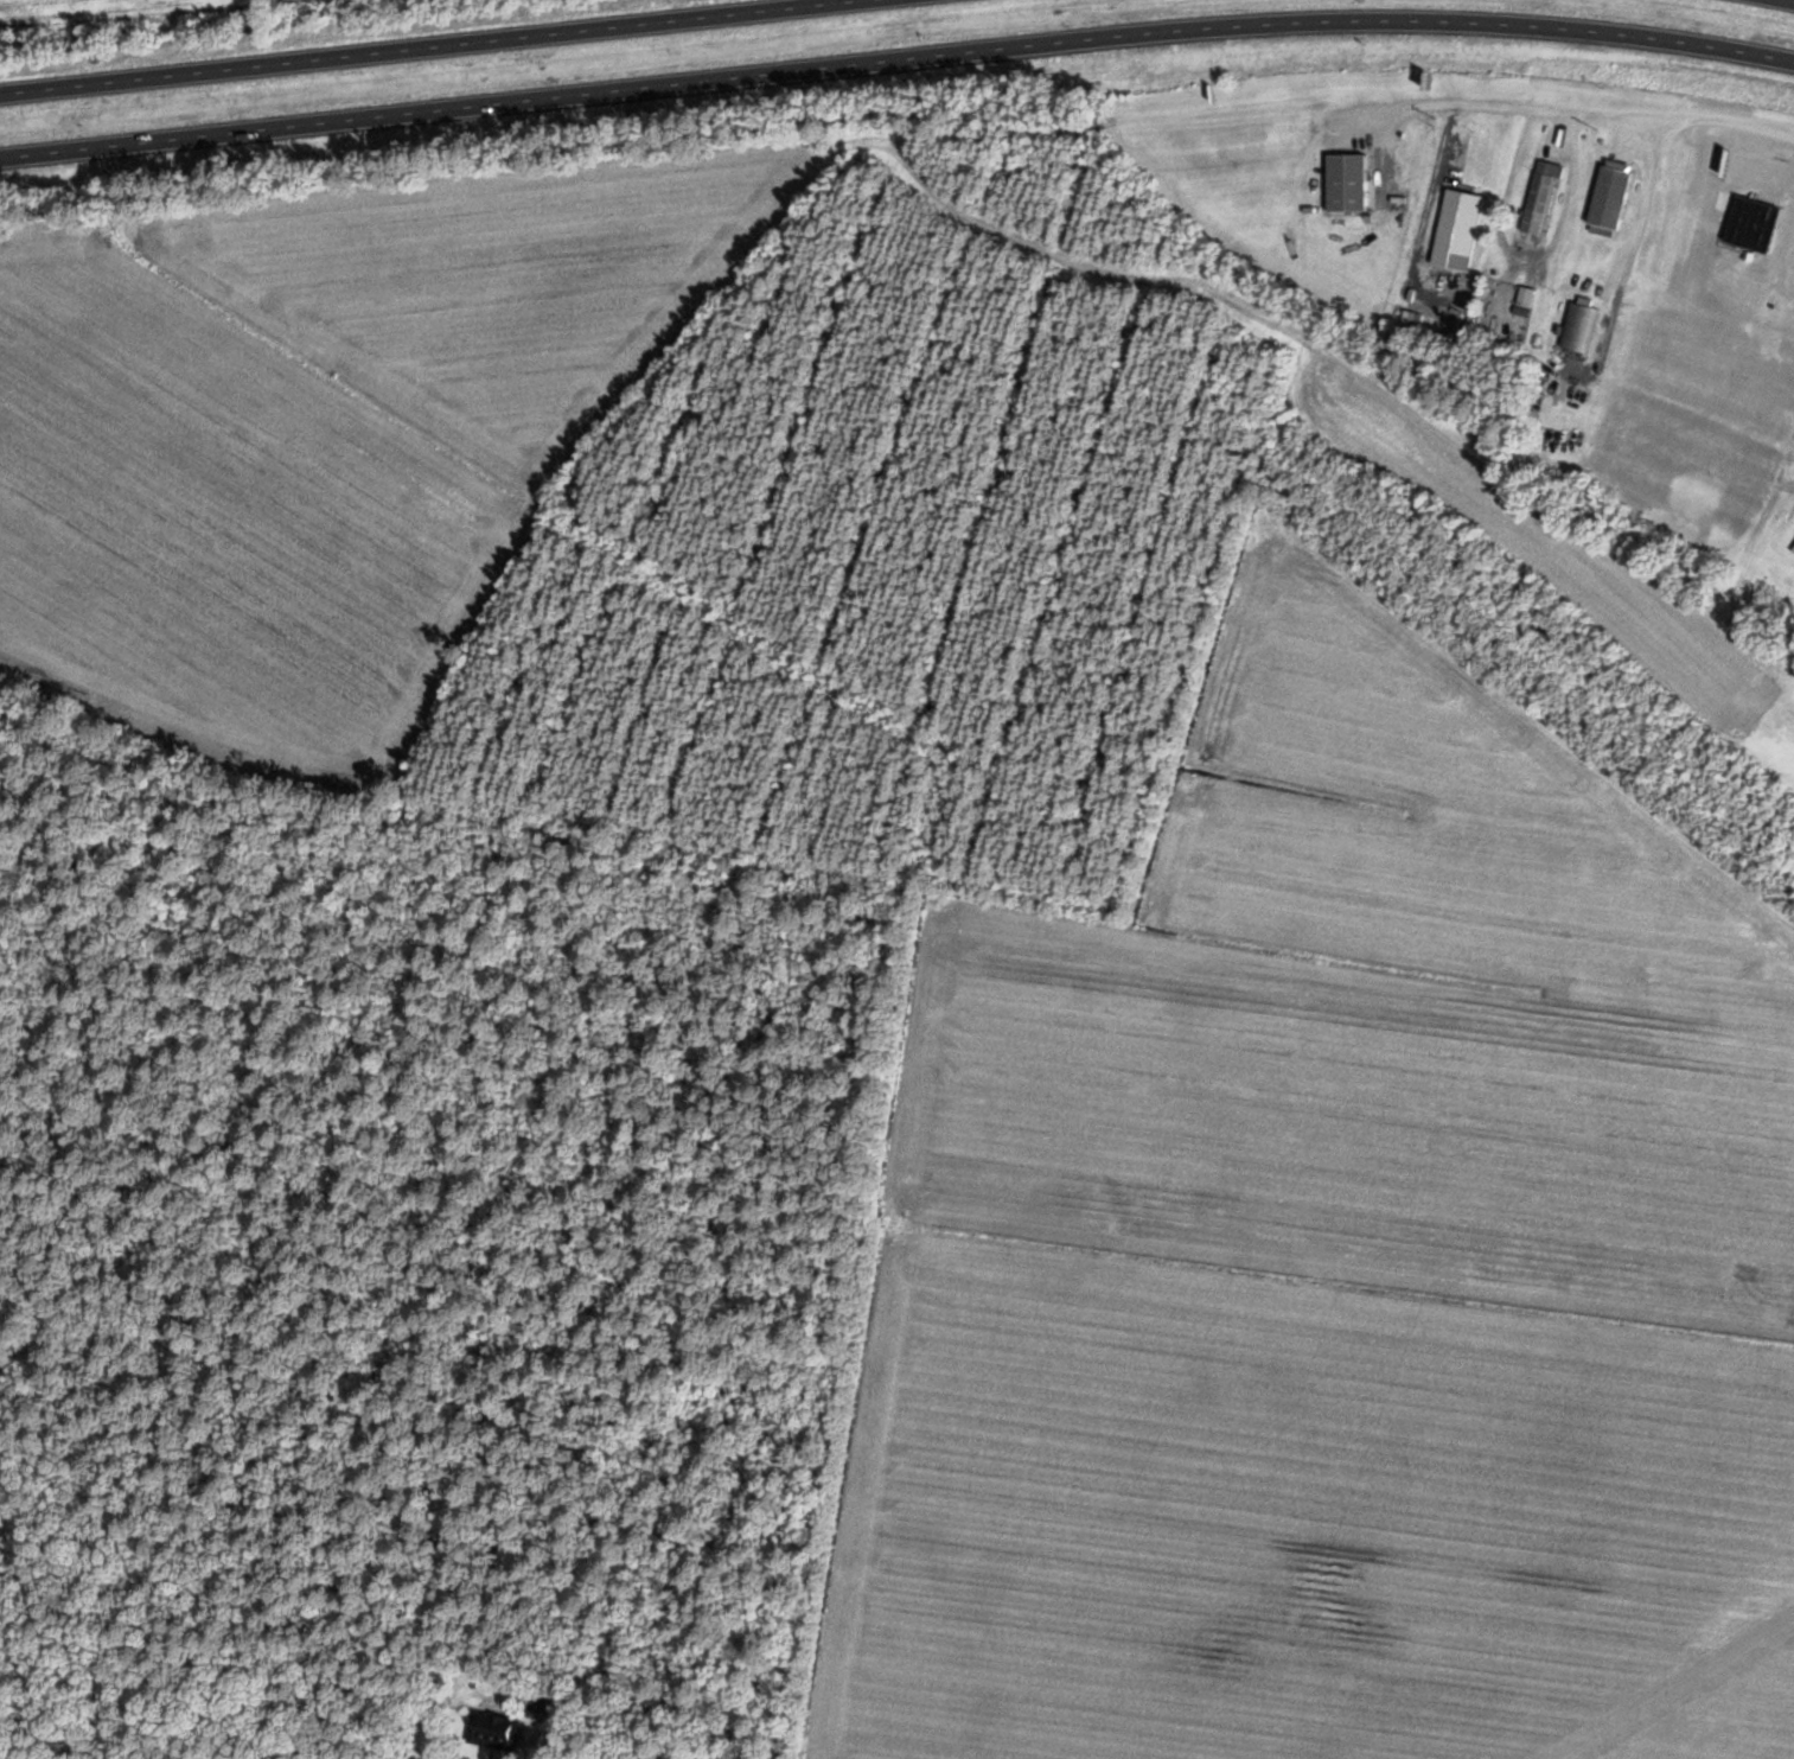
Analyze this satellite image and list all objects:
road: (1577, 27)
road: (427, 46)
road: (678, 82)
road: (1576, 108)
building: (1348, 181)
building: (1539, 196)
building: (1610, 198)
building: (1456, 227)
building: (1525, 295)
building: (1577, 326)
road: (1782, 463)
building: (1792, 538)
road: (937, 1691)
building: (548, 1699)
building: (496, 1731)

